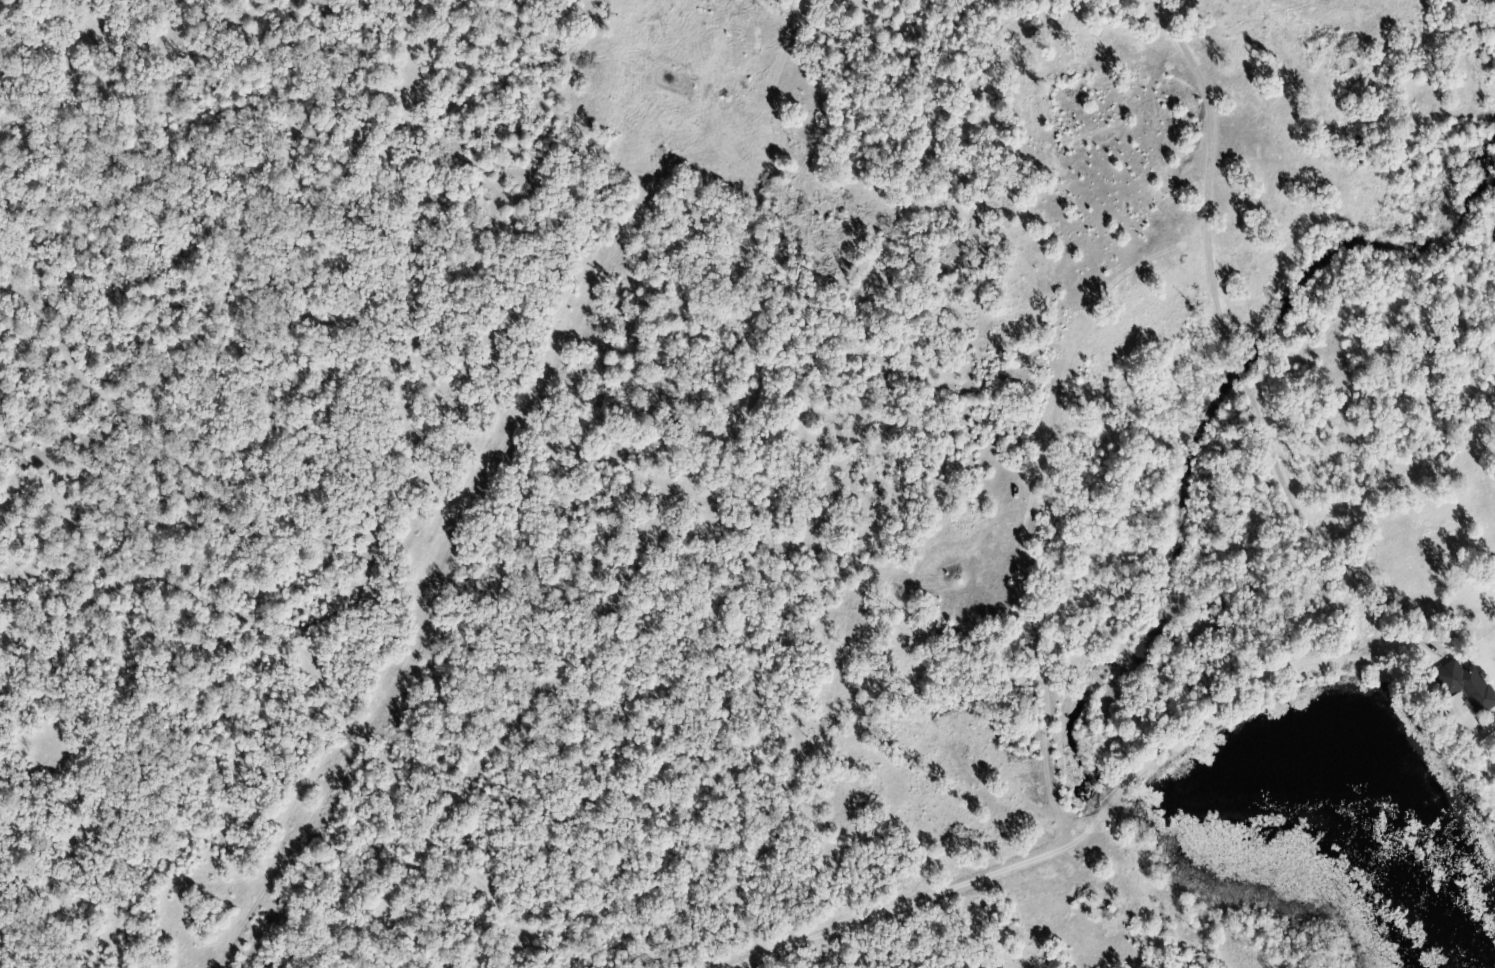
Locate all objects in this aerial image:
building: (1463, 683)

